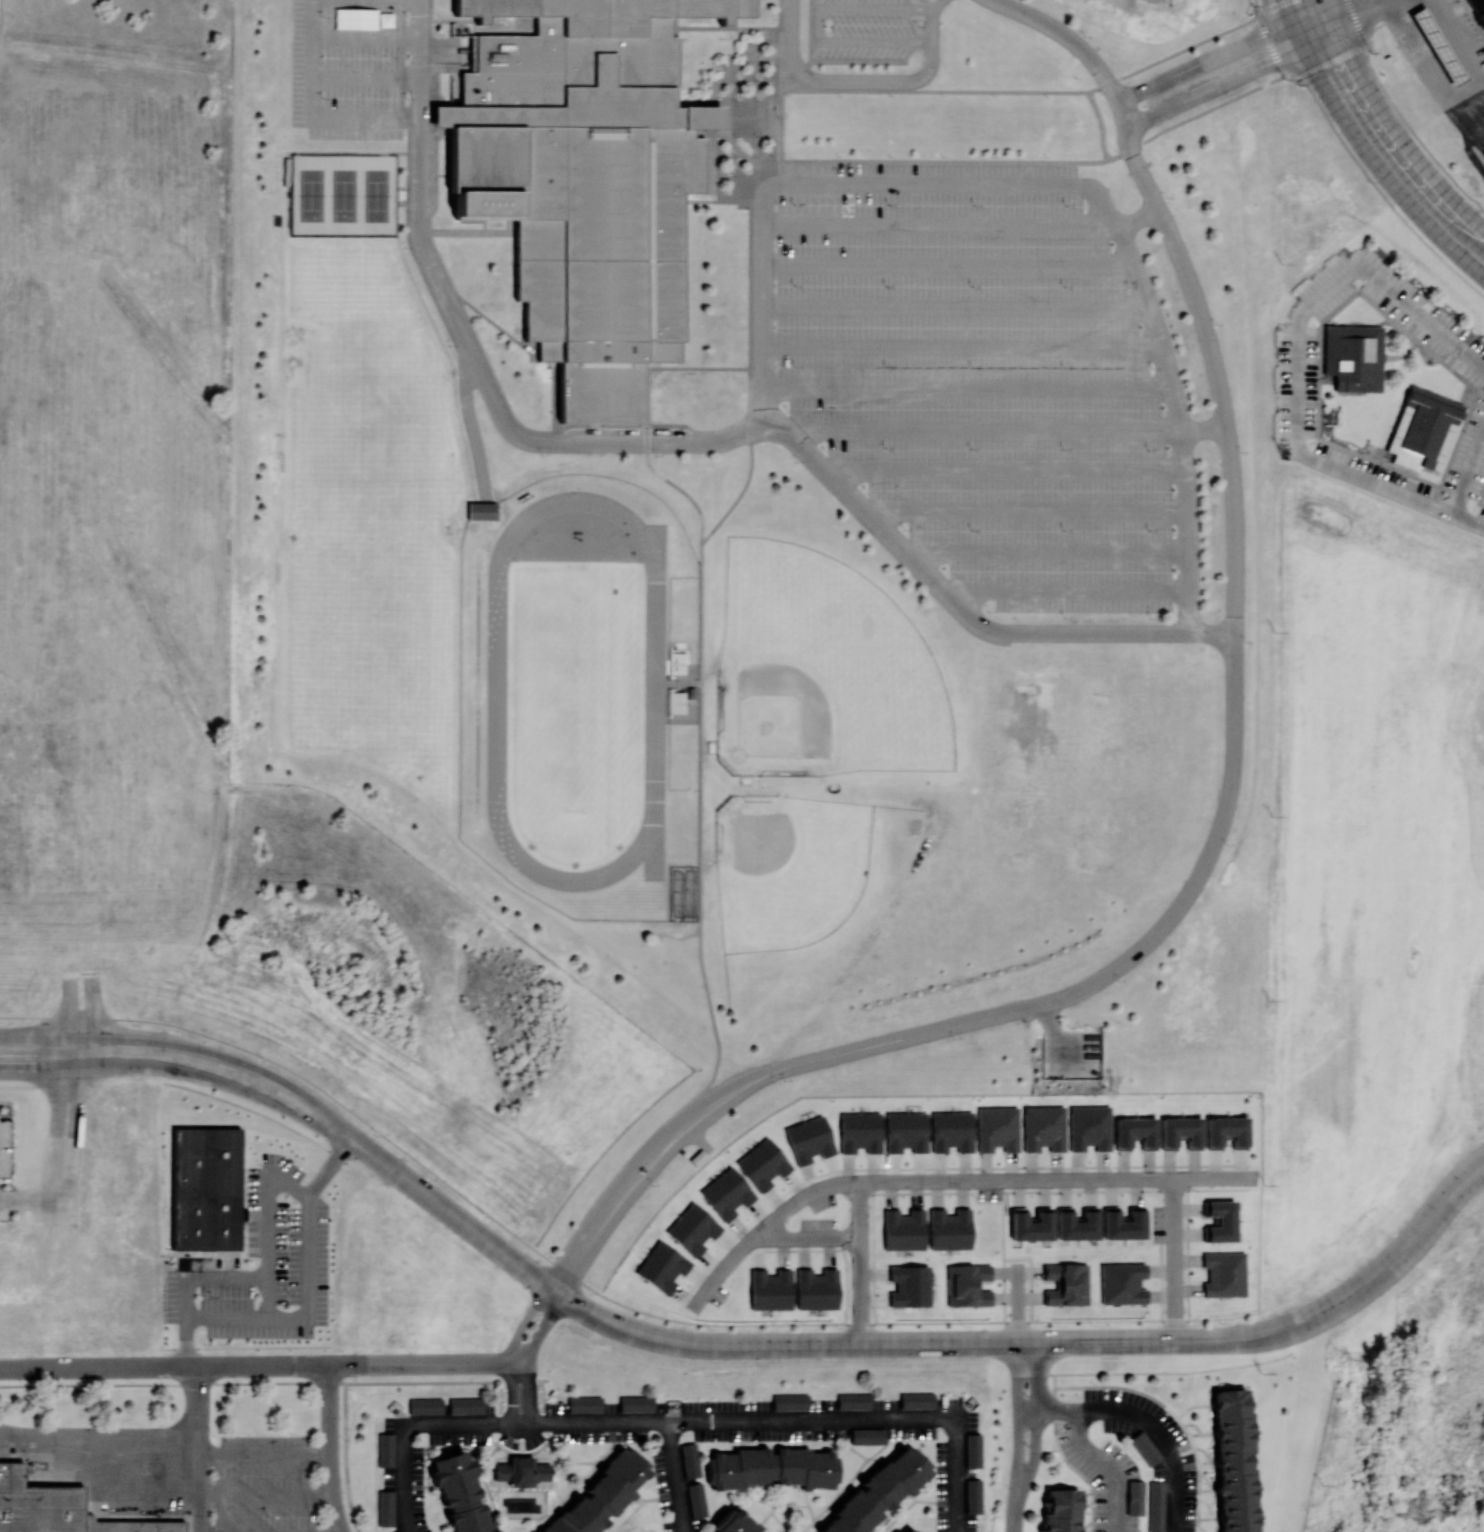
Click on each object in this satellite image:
road: (1387, 0)
road: (939, 4)
street lamp: (1252, 6)
building: (1478, 9)
road: (1287, 12)
road: (1327, 12)
road: (1361, 12)
road: (816, 24)
traffic signals: (1293, 24)
road: (1313, 24)
traffic signals: (1333, 25)
parking lot: (861, 31)
road: (1298, 34)
road: (1461, 34)
road: (1318, 35)
street lamp: (1085, 37)
road: (1075, 45)
building: (1437, 46)
gas station: (1440, 46)
street lamp: (1393, 49)
road: (1225, 54)
traffic signals: (1269, 62)
road: (1429, 68)
parking lot: (348, 69)
road: (1247, 71)
street lamp: (1076, 79)
road: (859, 81)
street lamp: (1299, 88)
road: (1135, 93)
street lamp: (1101, 96)
street lamp: (1145, 107)
road: (1159, 112)
road: (1398, 135)
building: (1483, 159)
road: (1380, 171)
building: (589, 182)
street lamp: (1368, 183)
road: (834, 185)
park: (344, 195)
street lamp: (1168, 199)
road: (1137, 219)
park: (343, 272)
street lamp: (1217, 324)
road: (1298, 352)
building: (1355, 358)
parking lot: (972, 374)
park: (368, 423)
road: (471, 426)
road: (982, 426)
road: (1180, 426)
road: (1203, 426)
building: (1425, 431)
road: (686, 445)
road: (1020, 471)
road: (1469, 477)
building: (476, 511)
road: (1469, 521)
park: (369, 647)
building: (675, 661)
park: (818, 672)
track: (654, 688)
park: (574, 691)
building: (689, 693)
building: (677, 702)
road: (1231, 765)
park: (1079, 777)
park: (785, 869)
street lamp: (1121, 983)
road: (94, 1007)
road: (71, 1009)
street lamp: (133, 1025)
street lamp: (1081, 1028)
road: (82, 1037)
street lamp: (955, 1041)
street lamp: (263, 1062)
road: (109, 1069)
road: (31, 1071)
road: (268, 1073)
street lamp: (786, 1082)
road: (31, 1086)
road: (256, 1097)
road: (76, 1118)
road: (269, 1118)
road: (58, 1119)
building: (1088, 1127)
road: (252, 1128)
building: (1043, 1128)
building: (997, 1129)
building: (951, 1131)
building: (1226, 1131)
building: (859, 1132)
building: (906, 1132)
building: (1180, 1132)
building: (1135, 1133)
street lamp: (377, 1138)
road: (698, 1138)
building: (808, 1140)
street lamp: (13, 1148)
parking lot: (5, 1151)
road: (370, 1153)
building: (693, 1159)
building: (762, 1164)
road: (1059, 1181)
road: (628, 1184)
street lamp: (654, 1186)
building: (205, 1189)
street lamp: (1056, 1192)
building: (726, 1193)
street lamp: (974, 1193)
street lamp: (1192, 1193)
street lamp: (846, 1200)
road: (30, 1201)
parking lot: (4, 1210)
road: (60, 1211)
street lamp: (13, 1213)
street lamp: (484, 1218)
building: (1220, 1221)
building: (1123, 1223)
building: (1077, 1224)
building: (1031, 1225)
road: (765, 1227)
building: (692, 1229)
building: (949, 1229)
building: (903, 1230)
street lamp: (1451, 1230)
road: (807, 1239)
road: (265, 1255)
street lamp: (846, 1256)
road: (1399, 1256)
road: (1176, 1260)
road: (860, 1264)
building: (661, 1267)
building: (1223, 1274)
street lamp: (1337, 1281)
building: (1122, 1283)
building: (1065, 1284)
building: (967, 1285)
building: (909, 1286)
building: (816, 1289)
road: (593, 1290)
building: (770, 1290)
street lamp: (590, 1295)
road: (265, 1297)
road: (1018, 1304)
road: (301, 1313)
street lamp: (1193, 1317)
street lamp: (1035, 1319)
road: (523, 1322)
street lamp: (1220, 1324)
street lamp: (1092, 1326)
road: (540, 1328)
street lamp: (963, 1328)
street lamp: (710, 1329)
street lamp: (837, 1329)
road: (1277, 1330)
road: (676, 1342)
road: (1139, 1342)
road: (244, 1347)
power tower: (1353, 1360)
road: (450, 1363)
road: (350, 1365)
road: (164, 1366)
road: (1166, 1373)
power tower: (1260, 1378)
street lamp: (238, 1380)
street lamp: (352, 1380)
street lamp: (130, 1382)
road: (273, 1382)
street lamp: (23, 1383)
road: (510, 1394)
road: (529, 1394)
street lamp: (1027, 1397)
building: (916, 1399)
building: (853, 1400)
building: (789, 1401)
building: (585, 1404)
building: (637, 1404)
building: (426, 1406)
building: (466, 1406)
road: (1048, 1410)
road: (199, 1411)
road: (680, 1422)
road: (1018, 1428)
road: (1037, 1430)
building: (868, 1435)
road: (1163, 1438)
street lamp: (1027, 1446)
building: (1145, 1446)
building: (973, 1448)
road: (328, 1449)
building: (386, 1450)
road: (98, 1453)
road: (264, 1456)
building: (689, 1458)
building: (1233, 1461)
road: (1107, 1465)
building: (771, 1468)
building: (517, 1471)
road: (957, 1475)
road: (675, 1477)
road: (402, 1478)
street lamp: (1007, 1488)
building: (877, 1492)
building: (459, 1493)
road: (199, 1494)
building: (600, 1495)
building: (973, 1495)
road: (266, 1496)
building: (1134, 1496)
building: (695, 1498)
building: (38, 1505)
building: (1155, 1506)
building: (387, 1509)
building: (1060, 1510)
building: (734, 1522)
road: (1014, 1523)
building: (134, 1527)
building: (911, 1530)

